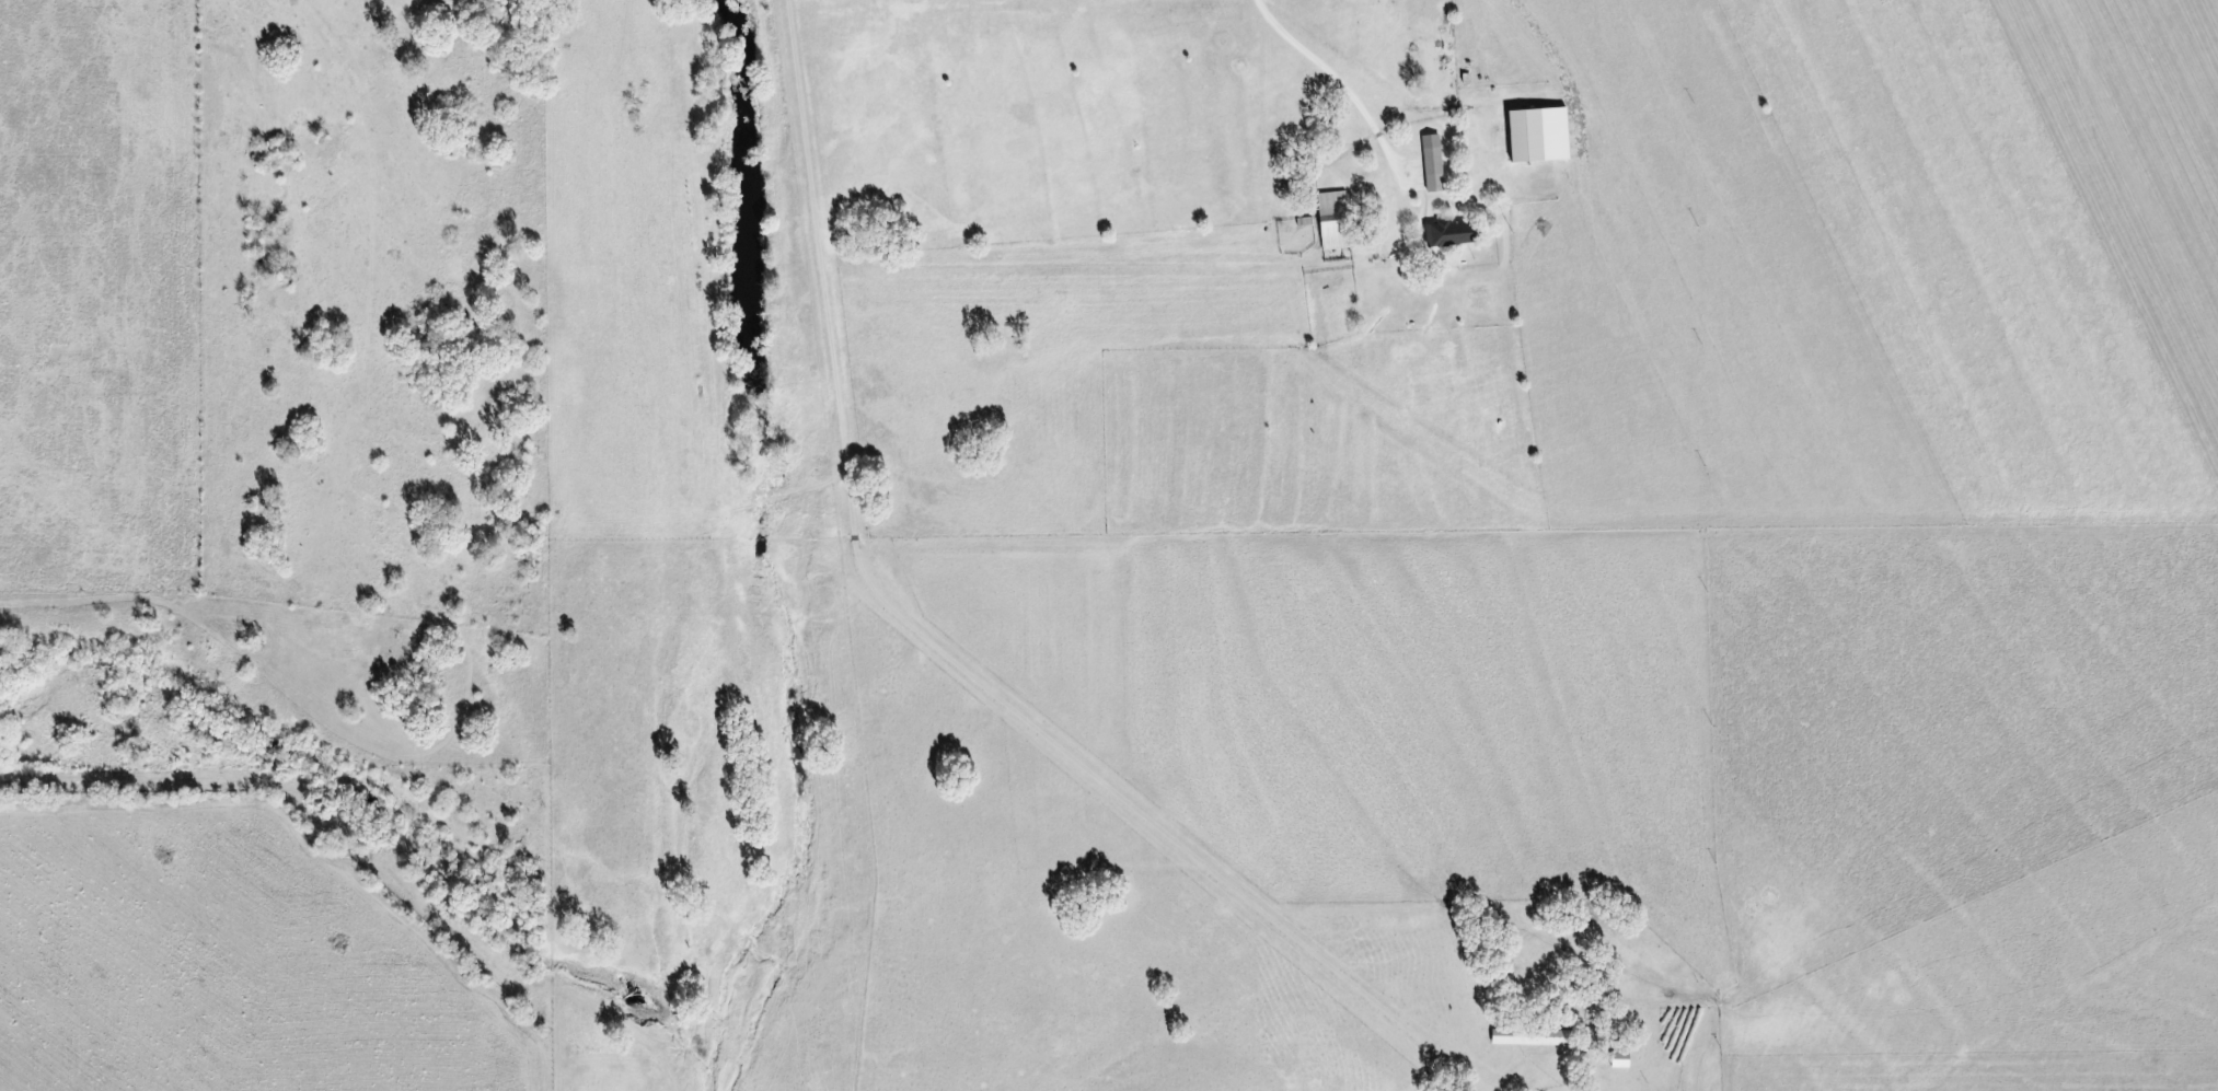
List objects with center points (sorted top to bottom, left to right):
building: (1540, 135)
building: (1433, 162)
building: (1333, 220)
building: (1451, 233)
road: (948, 647)

